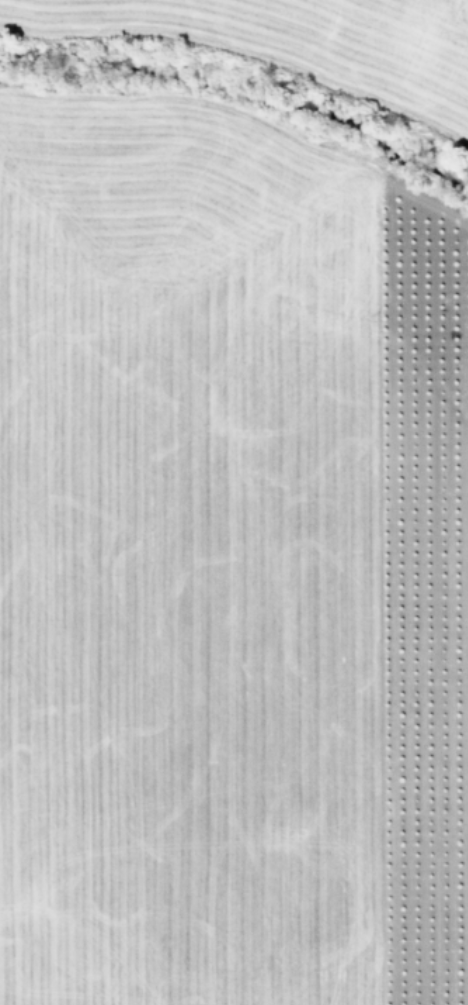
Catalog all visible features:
crop: (234, 502)

